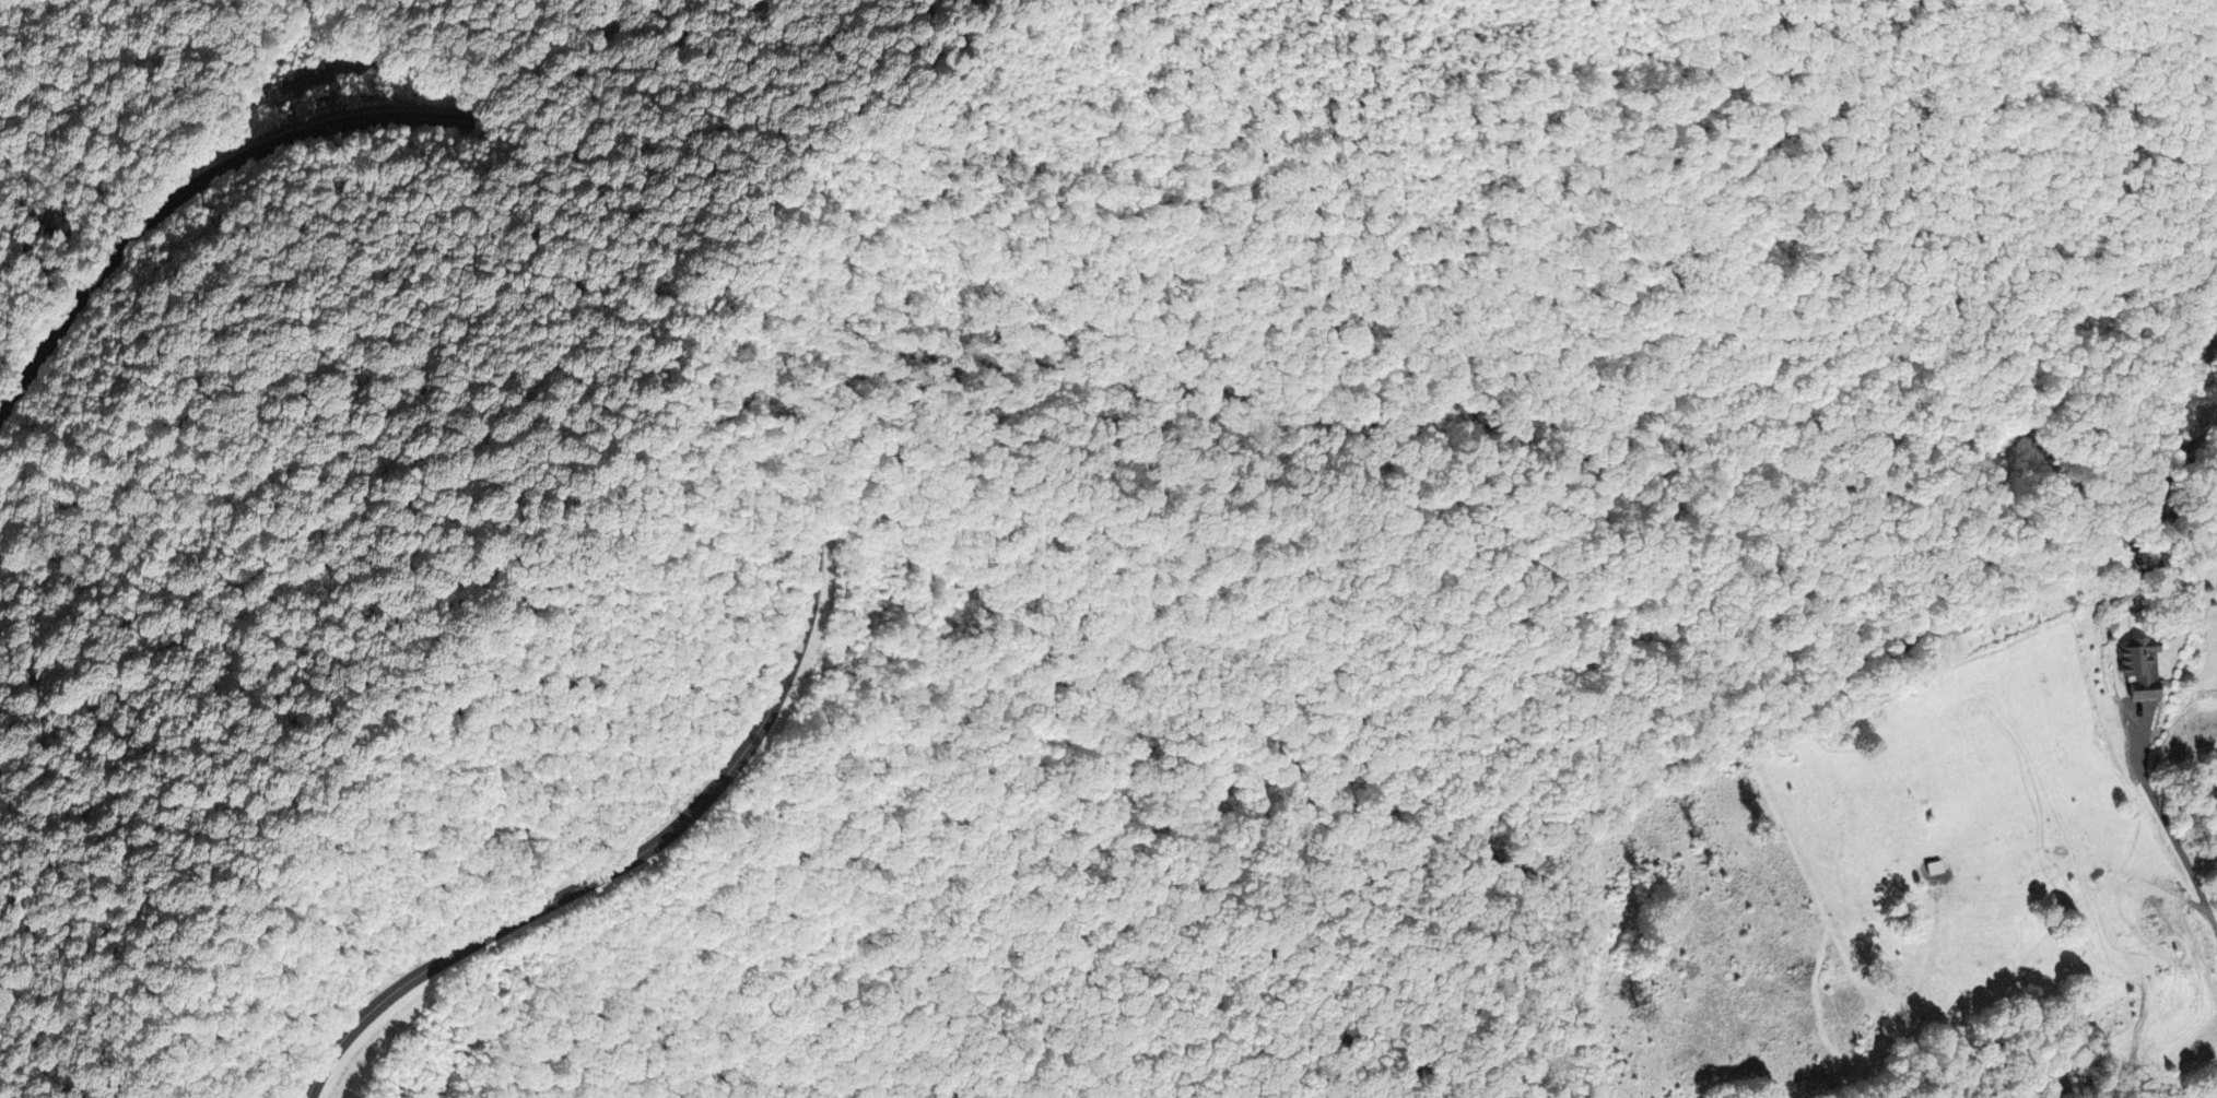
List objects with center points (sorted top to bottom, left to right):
road: (191, 190)
road: (772, 243)
building: (2140, 669)
road: (2177, 841)
road: (627, 863)

